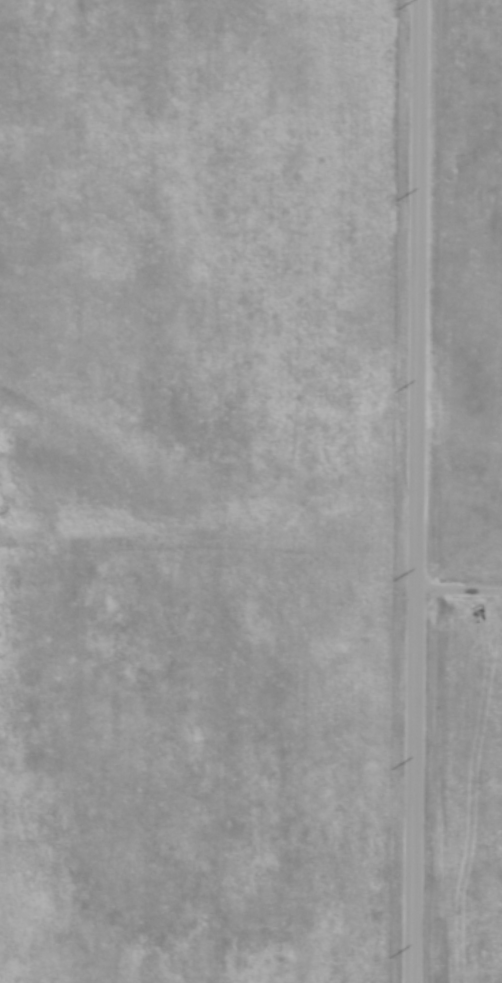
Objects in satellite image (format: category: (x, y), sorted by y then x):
road: (417, 491)
road: (459, 598)

